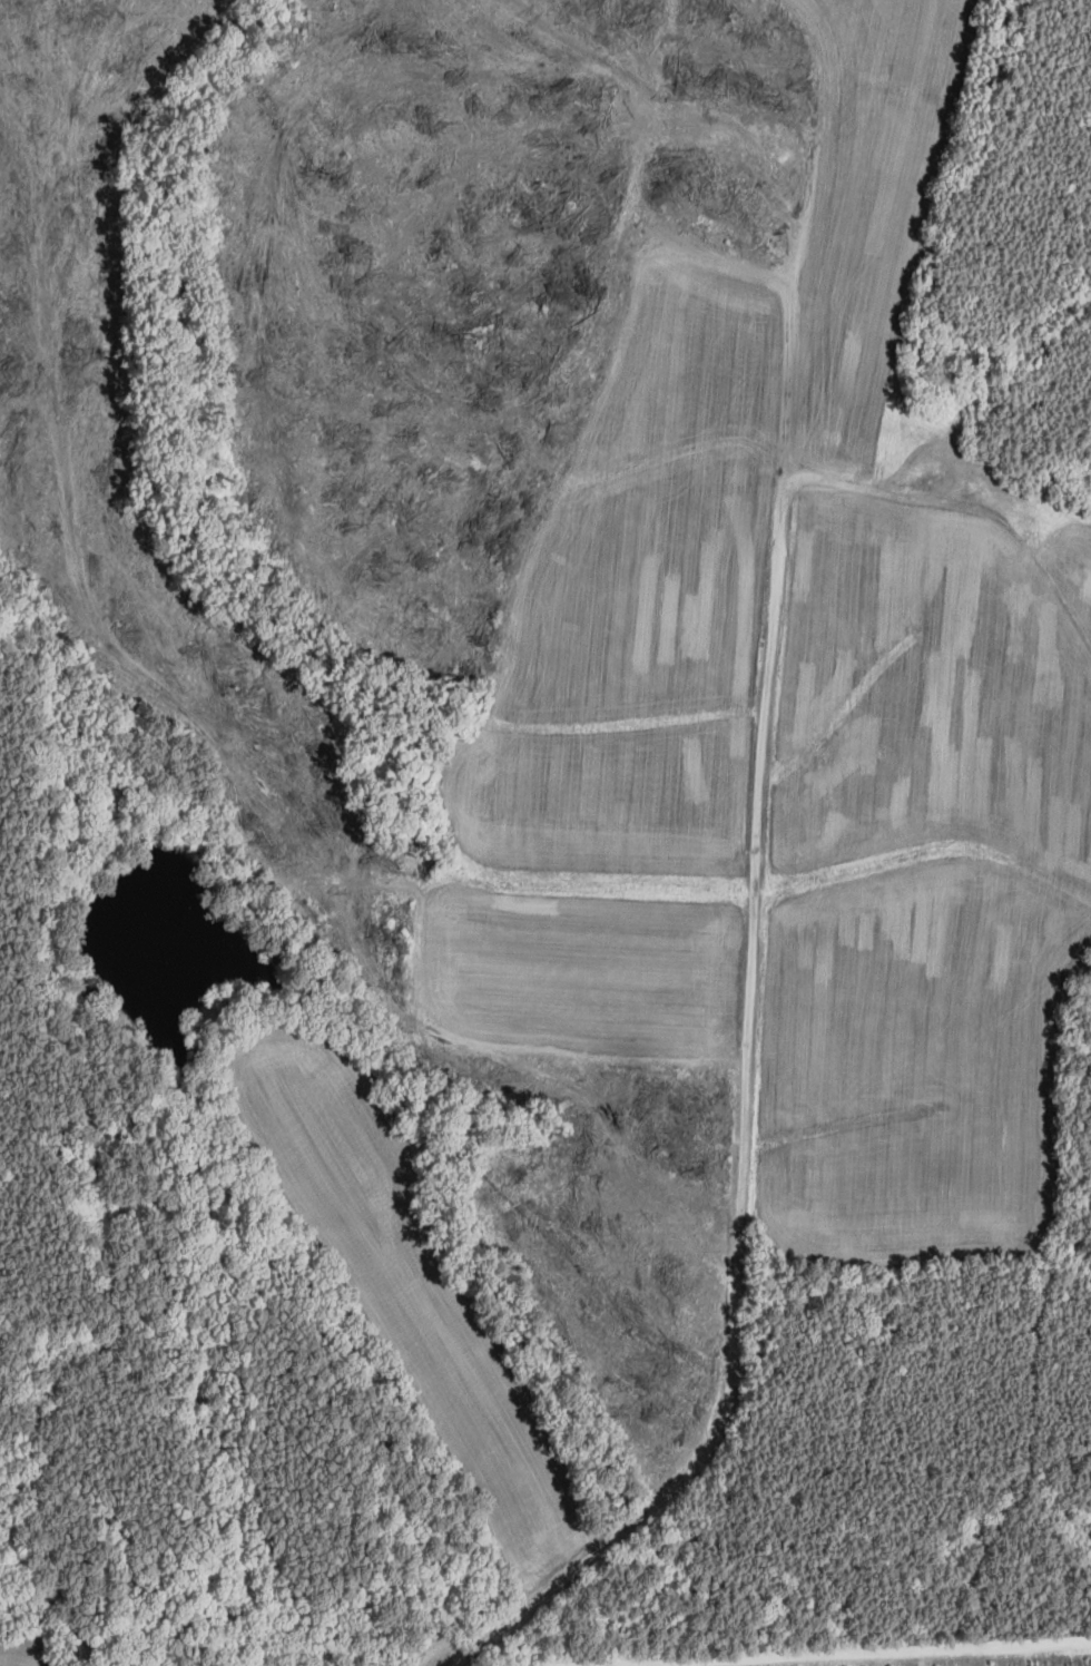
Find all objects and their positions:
road: (741, 1129)

